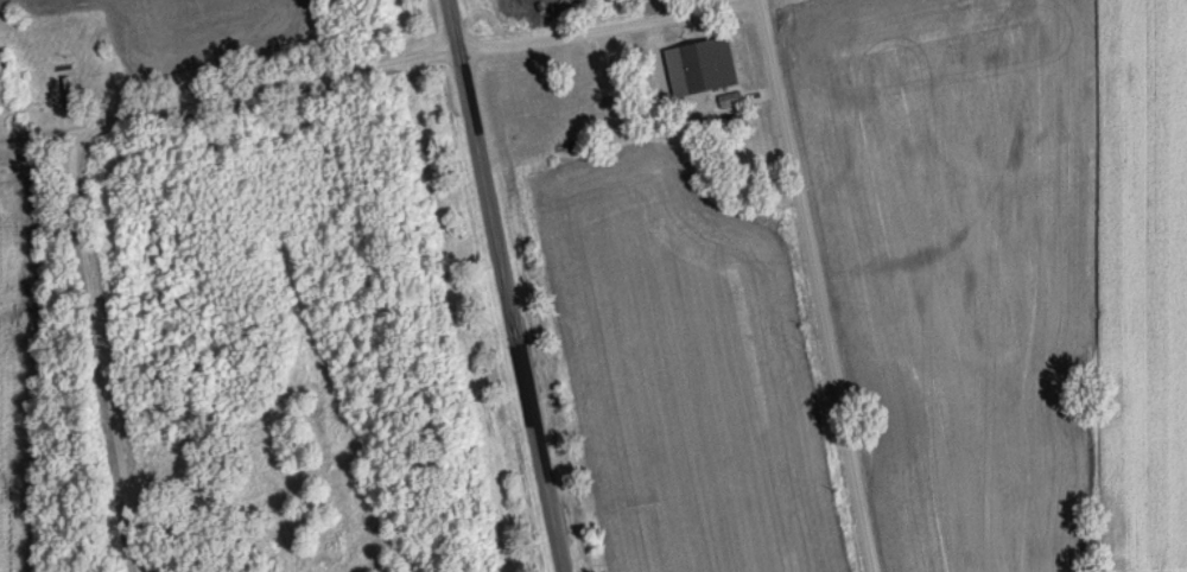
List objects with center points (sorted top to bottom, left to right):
building: (51, 20)
road: (572, 36)
building: (699, 65)
building: (729, 122)
road: (76, 199)
road: (815, 285)
road: (508, 286)
building: (275, 407)

